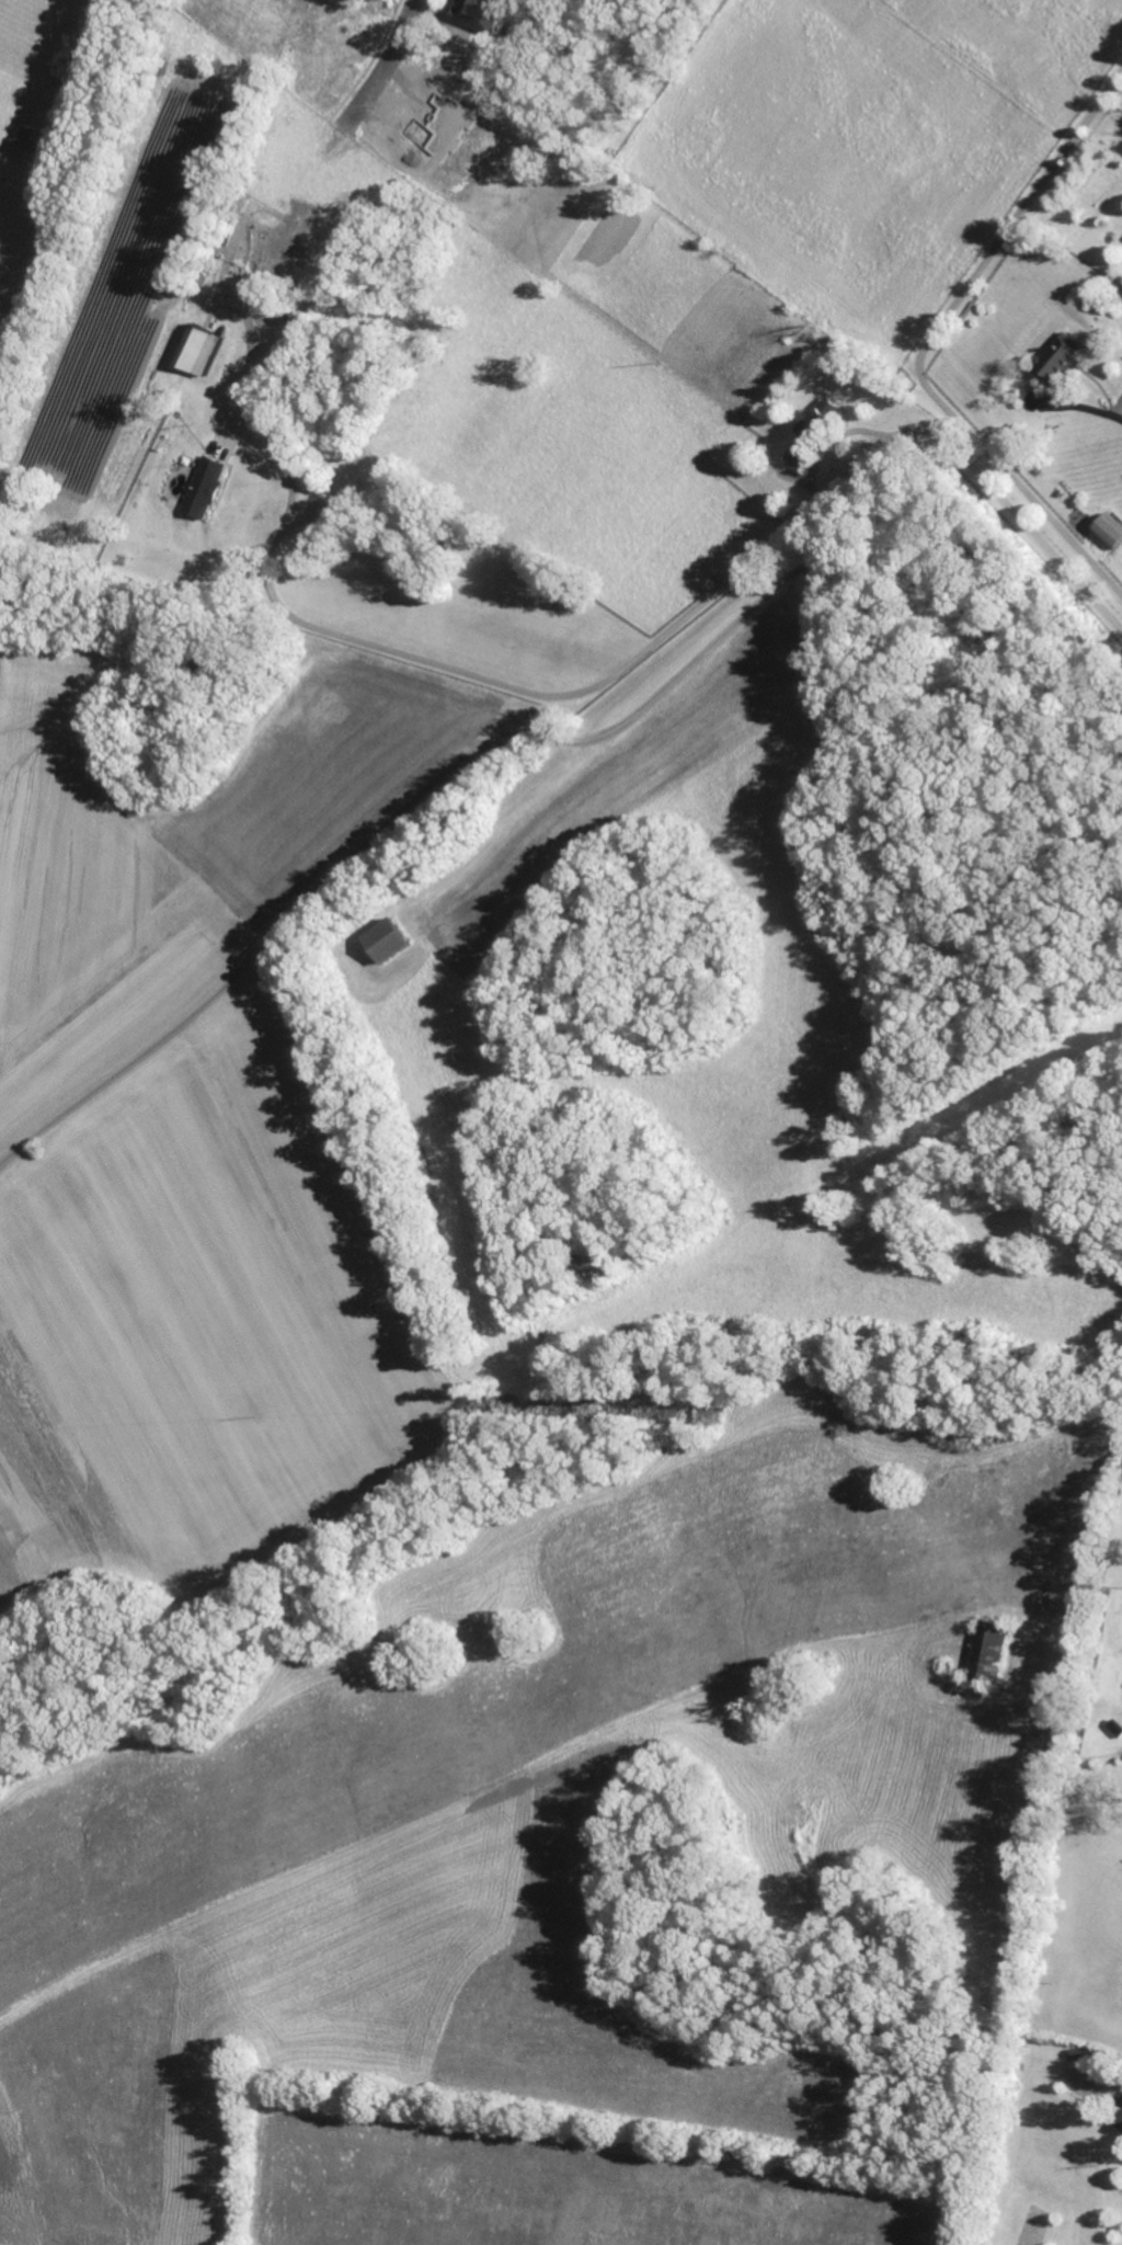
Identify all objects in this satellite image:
building: (479, 14)
road: (379, 64)
road: (927, 344)
building: (198, 350)
building: (1058, 360)
road: (1090, 412)
building: (205, 488)
road: (1028, 531)
building: (1109, 531)
road: (514, 690)
road: (560, 741)
building: (386, 941)
building: (989, 1651)
building: (1118, 2119)

